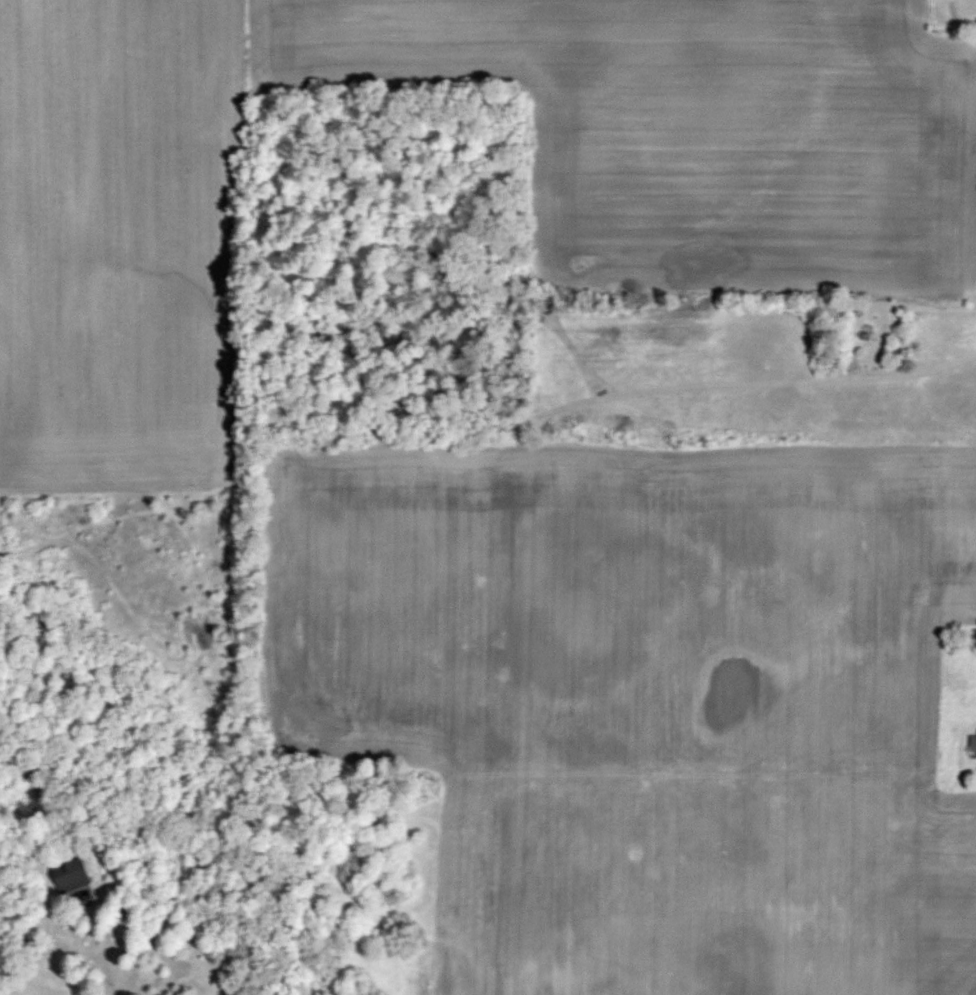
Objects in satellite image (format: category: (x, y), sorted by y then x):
building: (972, 743)
building: (72, 874)
road: (160, 944)

